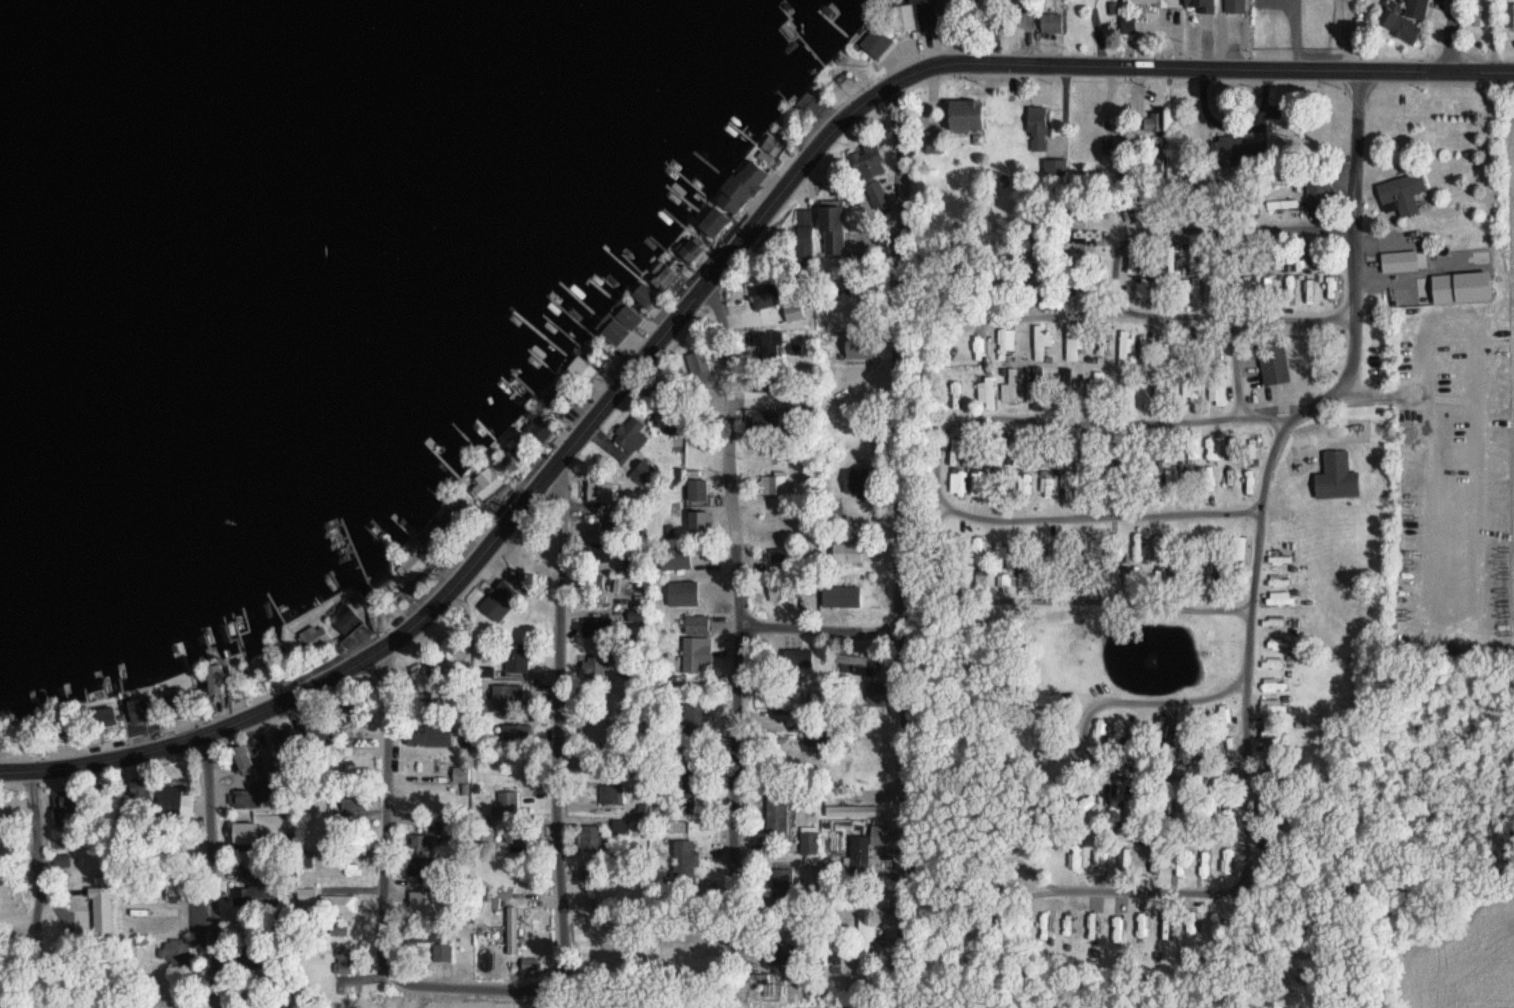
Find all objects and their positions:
building: (1144, 2)
building: (1199, 4)
building: (1234, 5)
building: (1483, 12)
building: (1509, 14)
building: (915, 15)
building: (1025, 16)
building: (1403, 18)
building: (1050, 22)
road: (1198, 35)
road: (1360, 35)
road: (1454, 37)
building: (875, 41)
building: (807, 103)
building: (965, 114)
building: (1153, 121)
building: (1035, 128)
building: (1228, 147)
building: (1054, 166)
building: (870, 172)
building: (741, 186)
building: (1317, 192)
building: (1401, 193)
building: (1281, 203)
building: (1091, 210)
building: (1128, 213)
building: (713, 223)
building: (831, 229)
building: (1087, 234)
building: (803, 235)
building: (1135, 260)
building: (1301, 260)
building: (1399, 260)
building: (1172, 262)
building: (1280, 262)
road: (1352, 264)
building: (665, 273)
road: (1114, 274)
road: (708, 280)
building: (1084, 286)
building: (1330, 286)
building: (1309, 291)
building: (1052, 303)
building: (628, 312)
road: (1041, 314)
building: (1005, 340)
building: (1072, 340)
building: (1125, 340)
building: (1040, 341)
building: (1144, 343)
building: (1164, 343)
building: (1212, 350)
building: (1188, 352)
building: (1273, 363)
building: (696, 364)
building: (575, 367)
building: (1189, 385)
building: (1216, 385)
building: (1010, 386)
building: (1036, 387)
building: (1062, 388)
building: (1156, 389)
building: (1094, 390)
building: (1128, 390)
building: (985, 391)
building: (798, 412)
building: (630, 435)
building: (998, 445)
building: (1191, 448)
building: (1212, 448)
building: (1230, 448)
building: (953, 450)
building: (1151, 450)
building: (1128, 451)
building: (1107, 452)
building: (1170, 453)
building: (1046, 454)
building: (1087, 455)
building: (642, 472)
building: (1227, 477)
building: (1167, 478)
building: (1188, 478)
building: (1209, 479)
building: (488, 480)
building: (1247, 480)
building: (959, 482)
building: (978, 482)
building: (1335, 482)
building: (1067, 483)
building: (801, 489)
building: (599, 491)
building: (697, 491)
road: (1260, 501)
building: (460, 503)
building: (832, 513)
road: (905, 534)
building: (1139, 547)
building: (1117, 549)
building: (1237, 550)
building: (846, 551)
building: (1000, 551)
building: (1279, 556)
building: (674, 557)
building: (777, 558)
building: (980, 567)
building: (1136, 572)
building: (1116, 576)
building: (961, 578)
building: (1157, 578)
building: (1278, 581)
building: (1002, 582)
building: (848, 585)
building: (778, 588)
building: (682, 592)
building: (1279, 598)
building: (499, 599)
road: (1122, 600)
building: (345, 618)
building: (1272, 623)
building: (595, 626)
road: (825, 628)
road: (743, 631)
building: (310, 639)
building: (696, 639)
road: (1250, 639)
building: (1274, 644)
building: (516, 657)
building: (796, 657)
building: (854, 658)
building: (592, 664)
building: (1272, 665)
building: (419, 674)
building: (1273, 685)
building: (505, 698)
road: (1152, 701)
building: (1272, 706)
building: (140, 709)
building: (1223, 714)
building: (694, 717)
road: (560, 719)
building: (313, 725)
building: (599, 727)
building: (1121, 729)
building: (515, 730)
building: (1099, 730)
building: (1138, 732)
building: (823, 733)
building: (428, 734)
building: (1269, 735)
building: (287, 746)
building: (1053, 750)
building: (1183, 751)
building: (460, 773)
building: (1068, 774)
building: (685, 782)
building: (138, 789)
building: (611, 793)
building: (253, 797)
building: (172, 800)
building: (352, 801)
building: (66, 802)
building: (505, 802)
building: (778, 808)
building: (851, 810)
building: (1115, 811)
building: (623, 826)
building: (243, 833)
building: (512, 834)
building: (487, 836)
building: (592, 836)
building: (422, 839)
building: (858, 854)
building: (1074, 855)
building: (1124, 856)
building: (1099, 858)
building: (1154, 859)
building: (1203, 859)
building: (1228, 861)
building: (1179, 862)
building: (683, 863)
building: (334, 866)
building: (419, 866)
road: (217, 868)
road: (38, 869)
road: (380, 883)
building: (253, 895)
building: (305, 895)
building: (335, 903)
building: (1069, 921)
building: (1094, 921)
building: (1118, 921)
building: (1046, 922)
building: (1193, 923)
building: (1216, 923)
building: (338, 927)
building: (518, 935)
building: (864, 938)
building: (176, 955)
building: (344, 959)

